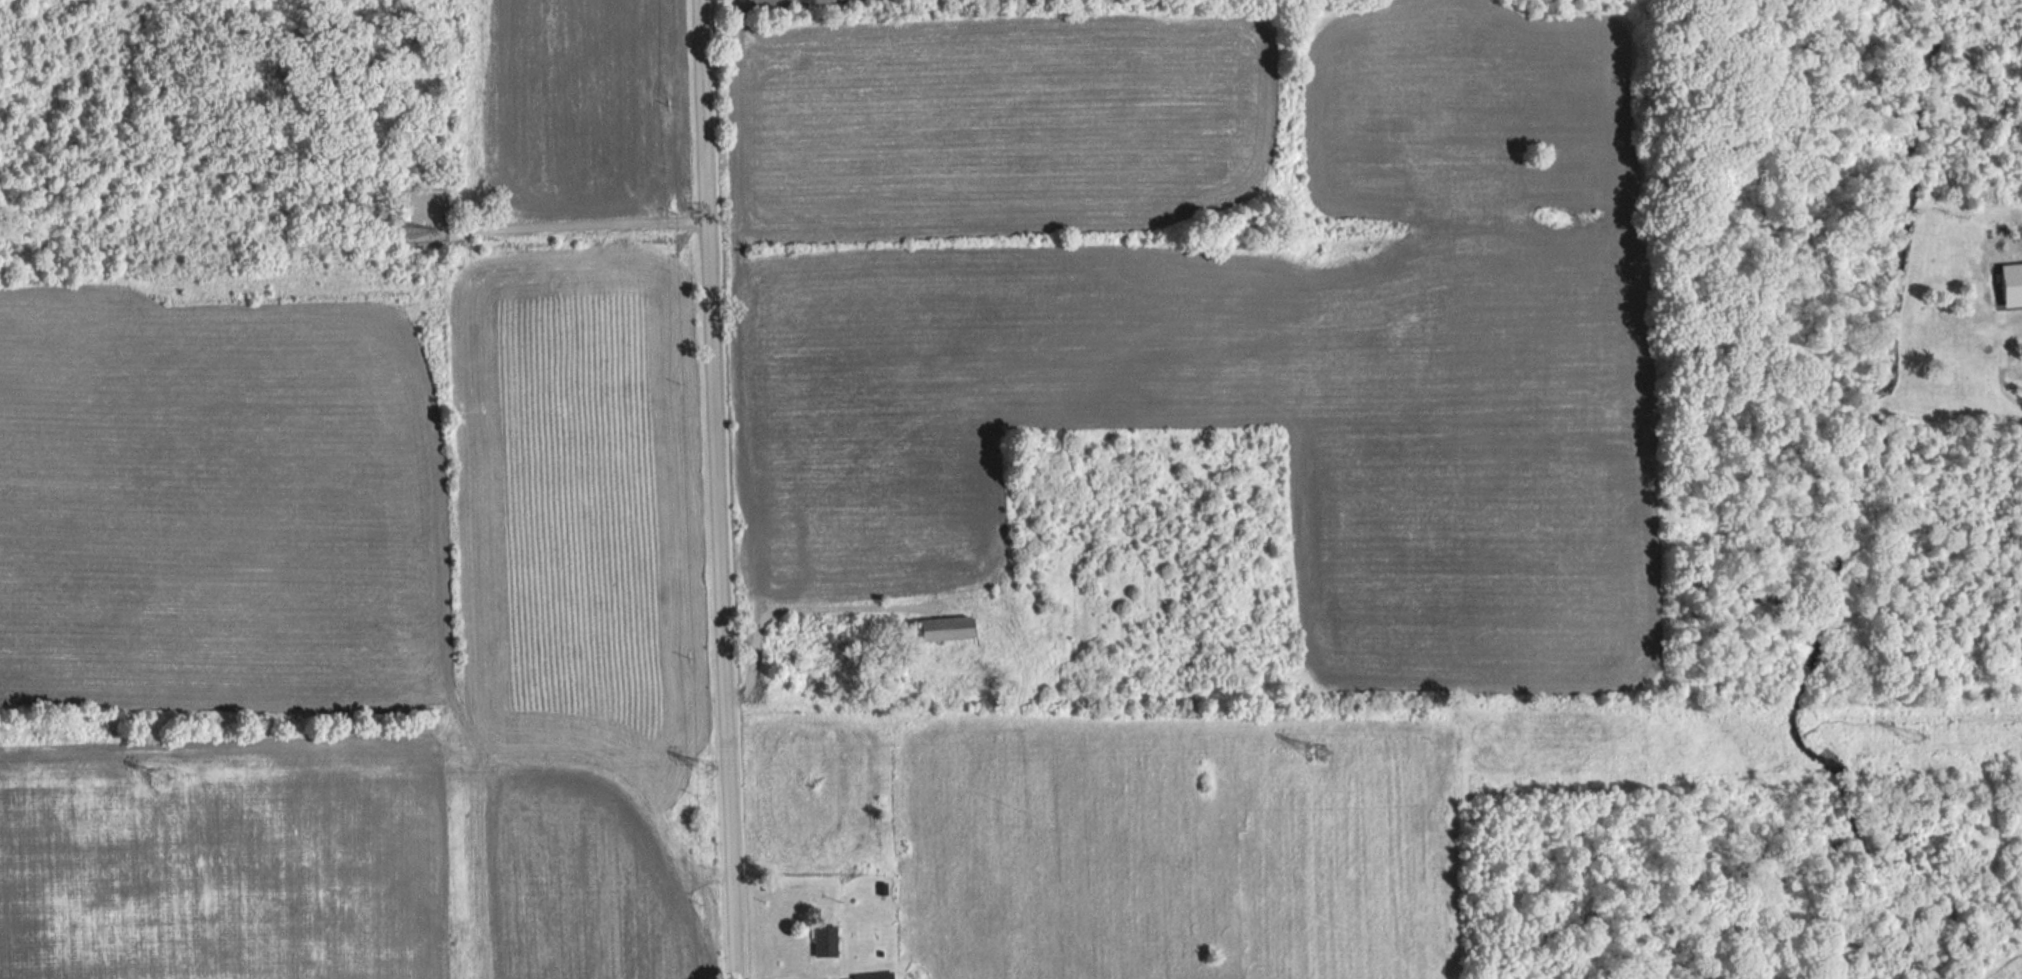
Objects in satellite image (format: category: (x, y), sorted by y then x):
road: (584, 223)
building: (2010, 282)
road: (712, 489)
road: (789, 607)
building: (942, 627)
power tower: (1907, 736)
power tower: (1319, 750)
power tower: (701, 770)
power tower: (161, 778)
building: (823, 940)
building: (872, 975)

